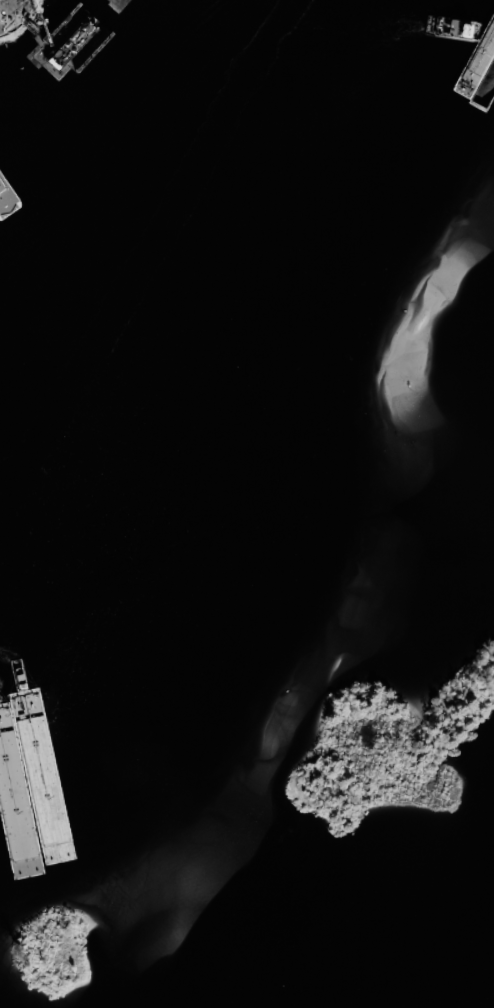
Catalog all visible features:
building: (0, 33)
building: (6, 130)
building: (15, 187)
river: (169, 315)

